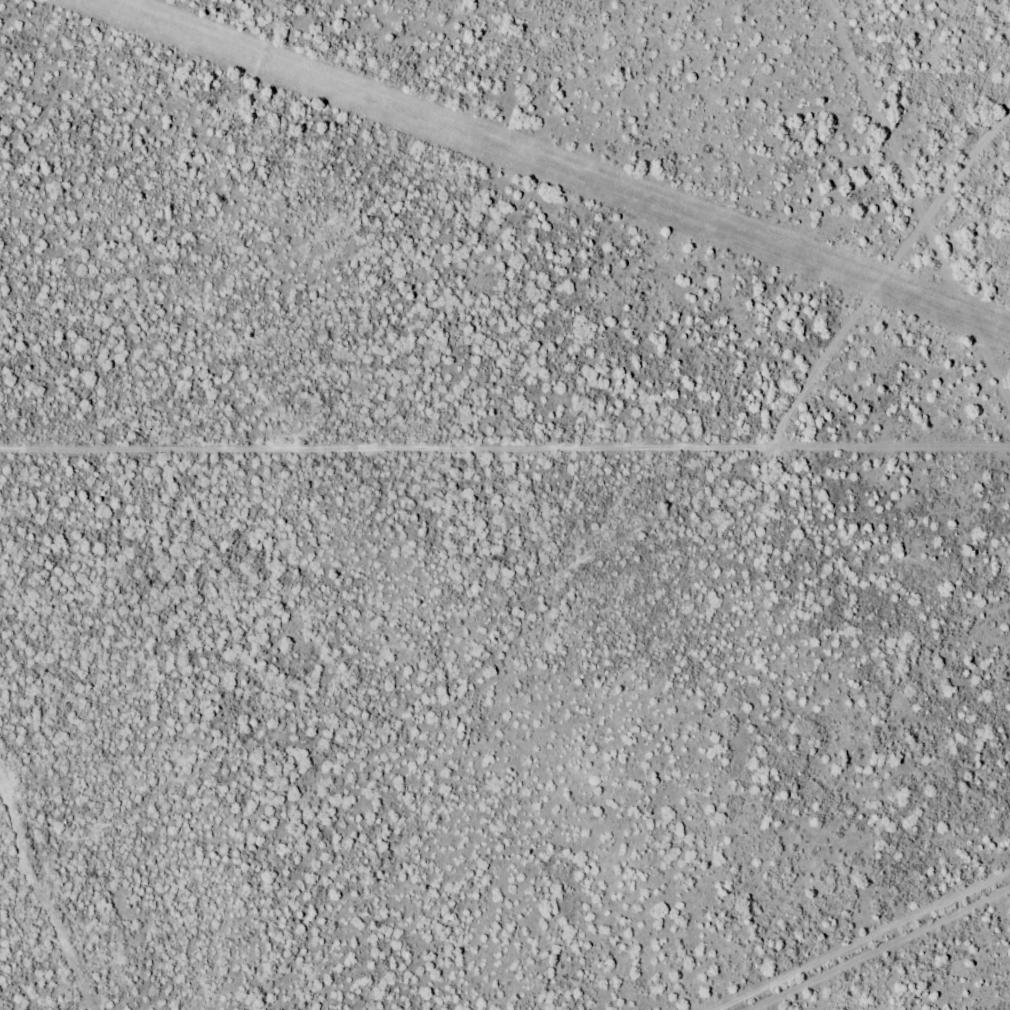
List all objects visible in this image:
road: (904, 964)

